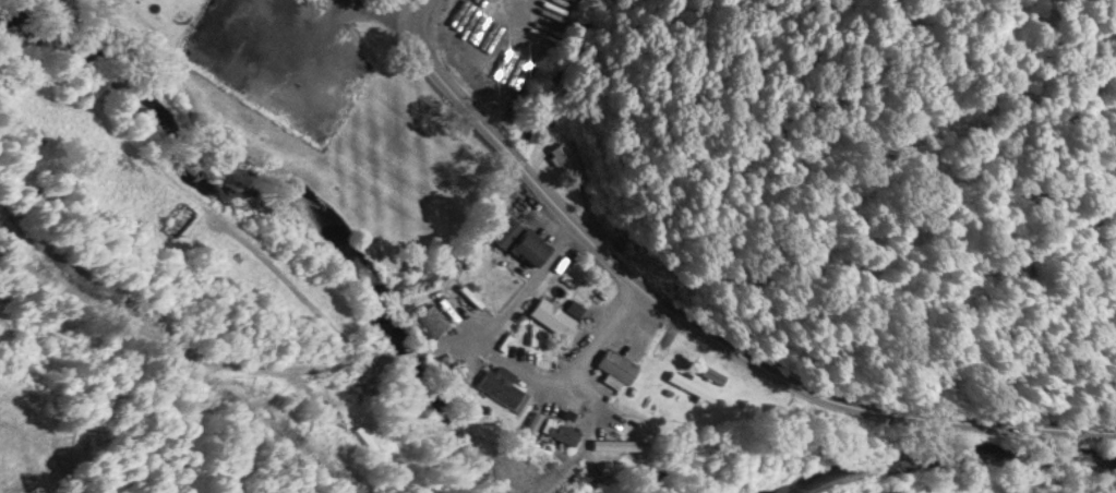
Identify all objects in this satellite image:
road: (419, 11)
road: (387, 13)
building: (562, 154)
building: (178, 220)
building: (519, 242)
building: (550, 317)
building: (430, 321)
road: (707, 332)
road: (507, 361)
road: (231, 363)
building: (615, 366)
building: (689, 386)
building: (497, 388)
building: (560, 433)
building: (617, 445)

